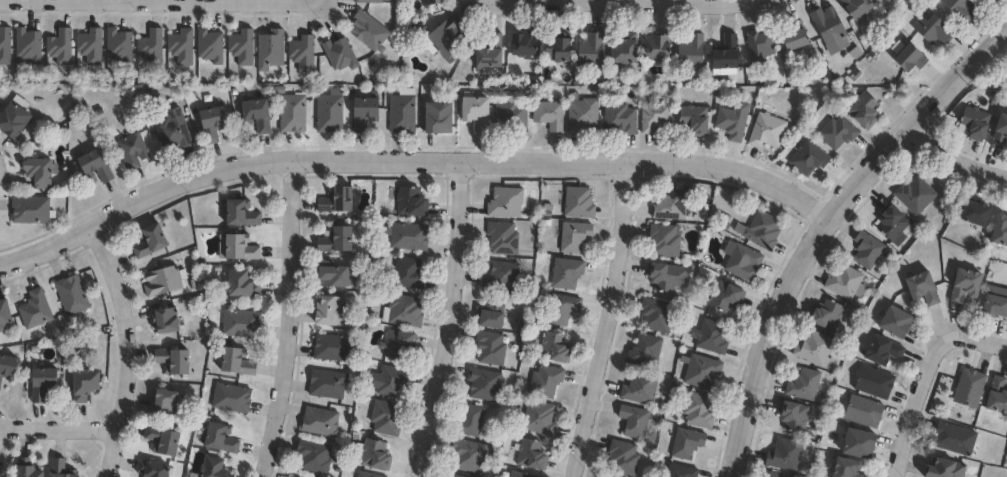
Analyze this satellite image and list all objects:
building: (361, 1)
building: (880, 1)
building: (885, 1)
building: (433, 2)
road: (158, 3)
road: (648, 5)
building: (851, 8)
building: (957, 8)
building: (822, 24)
building: (929, 29)
building: (364, 32)
building: (787, 35)
building: (446, 38)
building: (23, 45)
building: (526, 45)
building: (3, 46)
building: (85, 46)
building: (115, 46)
building: (206, 46)
building: (756, 46)
building: (55, 47)
building: (147, 47)
building: (177, 47)
building: (237, 47)
building: (660, 49)
building: (265, 50)
building: (592, 51)
building: (628, 51)
building: (298, 53)
building: (491, 53)
building: (562, 53)
building: (691, 53)
building: (335, 55)
building: (728, 55)
building: (902, 56)
building: (857, 110)
building: (402, 112)
building: (477, 112)
building: (293, 114)
building: (329, 114)
building: (366, 114)
building: (549, 115)
building: (583, 115)
building: (259, 116)
building: (511, 116)
building: (655, 117)
building: (692, 118)
building: (441, 119)
building: (621, 119)
building: (14, 121)
building: (729, 122)
building: (970, 122)
building: (214, 124)
building: (762, 130)
building: (996, 130)
building: (173, 131)
building: (833, 132)
building: (132, 151)
building: (804, 159)
road: (410, 164)
building: (96, 166)
road: (952, 169)
building: (40, 173)
building: (910, 195)
building: (338, 198)
building: (411, 202)
building: (506, 202)
building: (578, 202)
building: (671, 204)
building: (30, 211)
building: (242, 212)
building: (967, 213)
building: (888, 225)
road: (828, 226)
building: (763, 230)
building: (996, 231)
building: (574, 235)
building: (408, 236)
building: (503, 237)
building: (338, 238)
building: (665, 239)
building: (150, 242)
building: (241, 246)
building: (862, 250)
building: (743, 261)
building: (408, 272)
building: (567, 272)
building: (502, 275)
building: (668, 275)
building: (336, 276)
building: (164, 280)
building: (241, 282)
building: (841, 282)
building: (958, 285)
building: (916, 288)
building: (71, 294)
building: (726, 295)
building: (990, 302)
building: (560, 308)
building: (35, 309)
building: (405, 310)
building: (332, 311)
building: (492, 313)
building: (4, 314)
building: (656, 315)
building: (821, 315)
building: (166, 319)
road: (290, 321)
road: (449, 322)
building: (888, 322)
building: (241, 323)
road: (608, 323)
building: (712, 336)
building: (398, 343)
building: (335, 347)
building: (490, 347)
building: (555, 348)
building: (645, 350)
building: (810, 350)
road: (128, 351)
building: (875, 351)
building: (174, 360)
building: (237, 361)
building: (8, 366)
building: (702, 370)
building: (391, 380)
building: (546, 380)
building: (43, 383)
building: (870, 383)
building: (86, 384)
building: (328, 384)
building: (484, 384)
building: (799, 384)
road: (931, 384)
building: (641, 387)
building: (965, 388)
building: (993, 397)
building: (231, 398)
building: (165, 402)
building: (699, 409)
building: (859, 411)
building: (385, 417)
building: (539, 417)
building: (788, 417)
building: (470, 420)
building: (635, 421)
building: (320, 422)
road: (60, 432)
building: (221, 438)
building: (949, 439)
building: (163, 440)
building: (687, 443)
building: (851, 444)
building: (374, 454)
building: (529, 454)
building: (470, 455)
building: (780, 455)
building: (314, 456)
building: (623, 457)
building: (59, 467)
building: (216, 467)
building: (29, 468)
building: (152, 468)
building: (839, 468)
building: (939, 469)
building: (679, 471)
building: (520, 474)
building: (0, 475)
building: (365, 475)
building: (769, 475)
building: (291, 476)
building: (455, 476)
building: (605, 476)
building: (609, 476)

